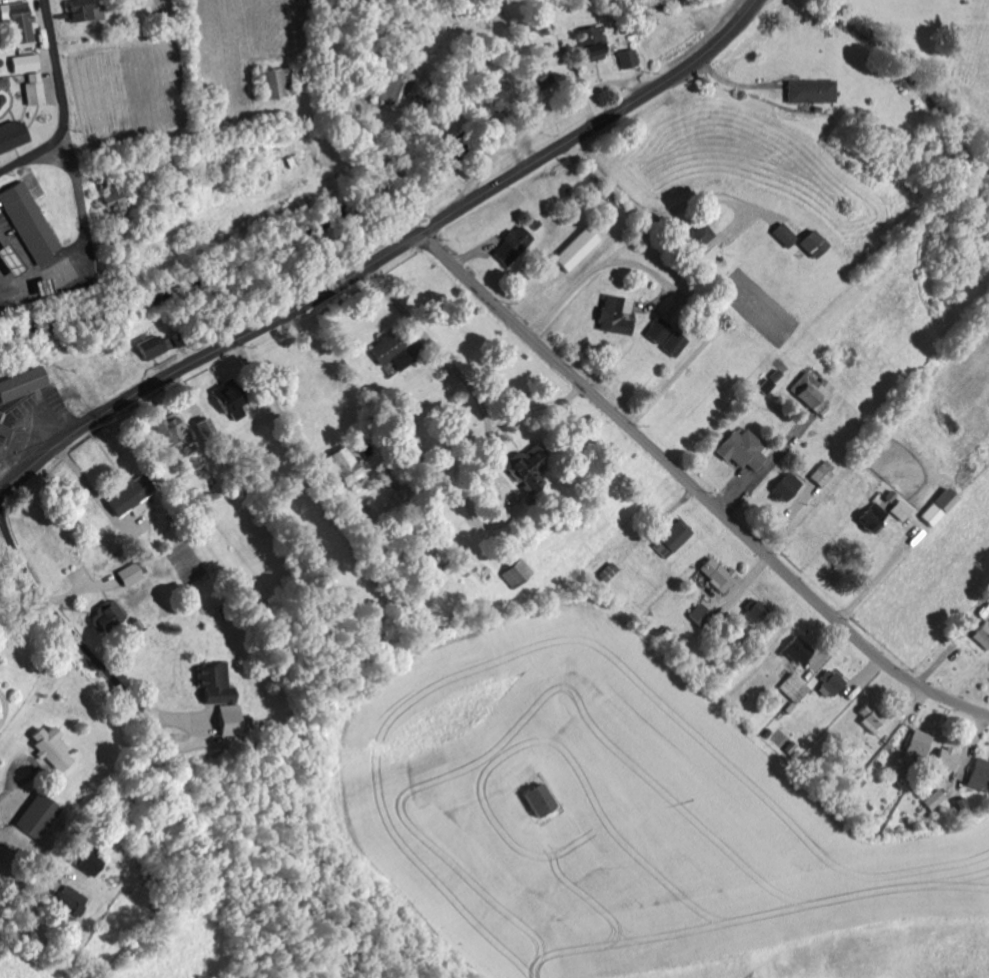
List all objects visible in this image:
building: (78, 10)
building: (20, 24)
building: (589, 43)
building: (626, 58)
building: (24, 63)
building: (274, 82)
building: (33, 89)
building: (809, 91)
road: (64, 104)
building: (12, 135)
building: (446, 161)
road: (58, 192)
building: (111, 200)
building: (28, 222)
building: (781, 234)
building: (697, 237)
building: (809, 243)
building: (510, 244)
building: (574, 249)
road: (383, 254)
building: (7, 260)
building: (613, 314)
building: (656, 330)
building: (672, 343)
building: (154, 345)
building: (389, 350)
building: (20, 382)
building: (813, 391)
building: (229, 405)
building: (169, 431)
building: (741, 449)
building: (345, 466)
building: (524, 469)
building: (821, 473)
road: (696, 486)
building: (783, 487)
building: (127, 496)
building: (937, 507)
building: (898, 509)
building: (871, 517)
building: (671, 538)
building: (515, 572)
building: (131, 573)
building: (715, 574)
building: (754, 612)
building: (108, 614)
building: (699, 616)
road: (68, 627)
building: (981, 634)
building: (796, 650)
building: (829, 683)
building: (212, 684)
building: (792, 688)
building: (867, 717)
building: (228, 719)
building: (917, 744)
building: (49, 747)
building: (944, 758)
building: (978, 775)
building: (933, 799)
building: (534, 800)
building: (961, 806)
building: (35, 816)
road: (13, 849)
building: (86, 863)
building: (65, 903)

